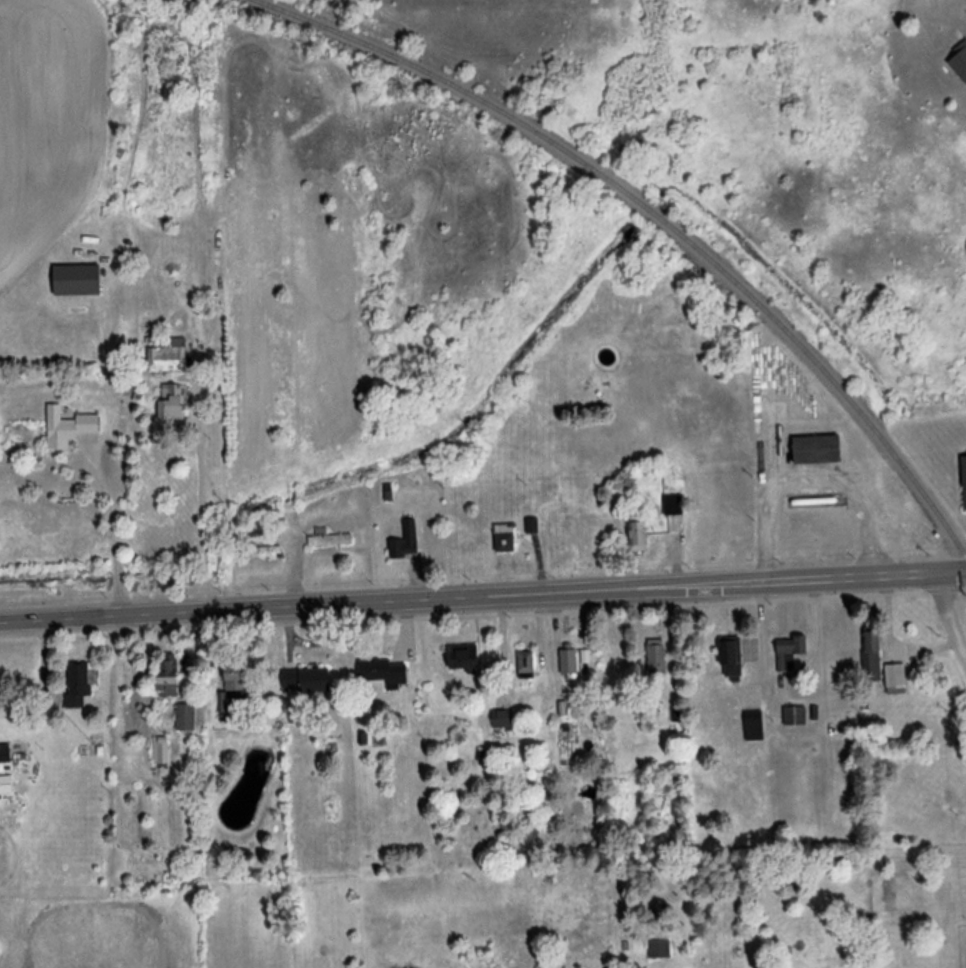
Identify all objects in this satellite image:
railway: (657, 216)
building: (77, 281)
building: (169, 357)
building: (172, 402)
building: (68, 427)
building: (817, 450)
building: (964, 480)
building: (639, 535)
building: (506, 539)
building: (330, 540)
building: (406, 543)
building: (262, 553)
road: (600, 593)
road: (949, 615)
road: (117, 620)
building: (790, 652)
building: (872, 653)
building: (463, 658)
building: (657, 658)
building: (731, 658)
building: (569, 662)
building: (526, 665)
building: (385, 673)
building: (167, 676)
building: (896, 680)
building: (306, 681)
building: (79, 685)
building: (233, 690)
building: (795, 716)
building: (186, 719)
building: (754, 722)
building: (161, 753)
building: (5, 755)
building: (6, 785)
building: (660, 950)

